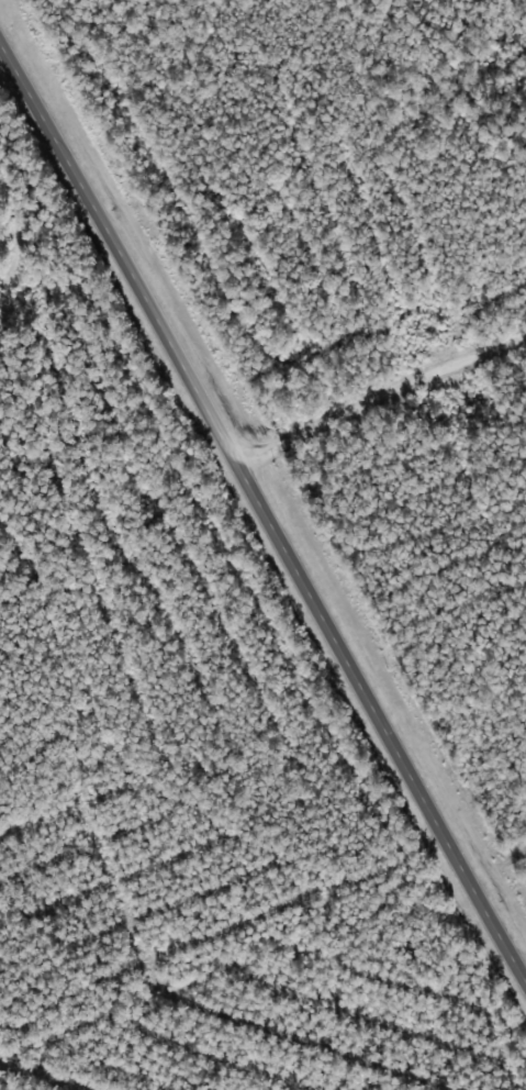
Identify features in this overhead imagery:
road: (376, 385)
road: (264, 511)

